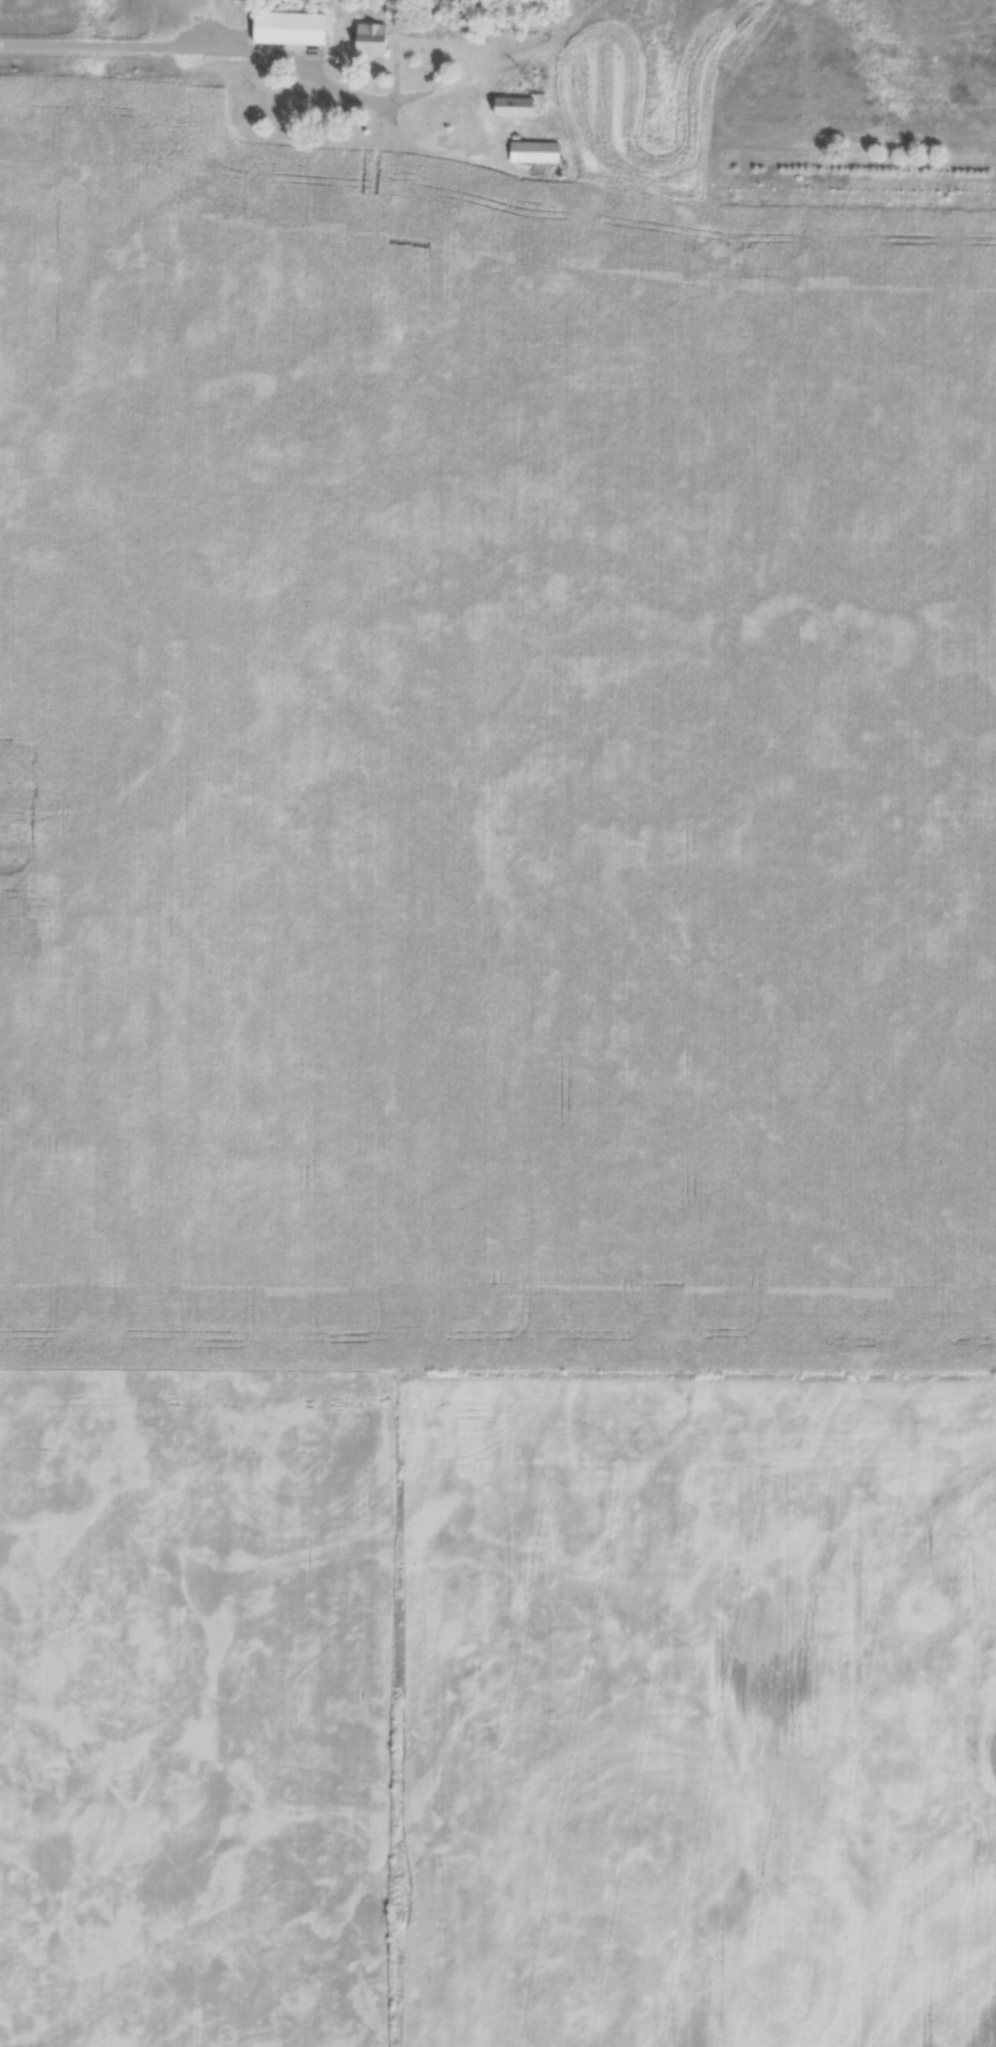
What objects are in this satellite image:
building: (289, 29)
building: (370, 38)
road: (317, 48)
building: (514, 107)
building: (535, 153)
building: (601, 209)

